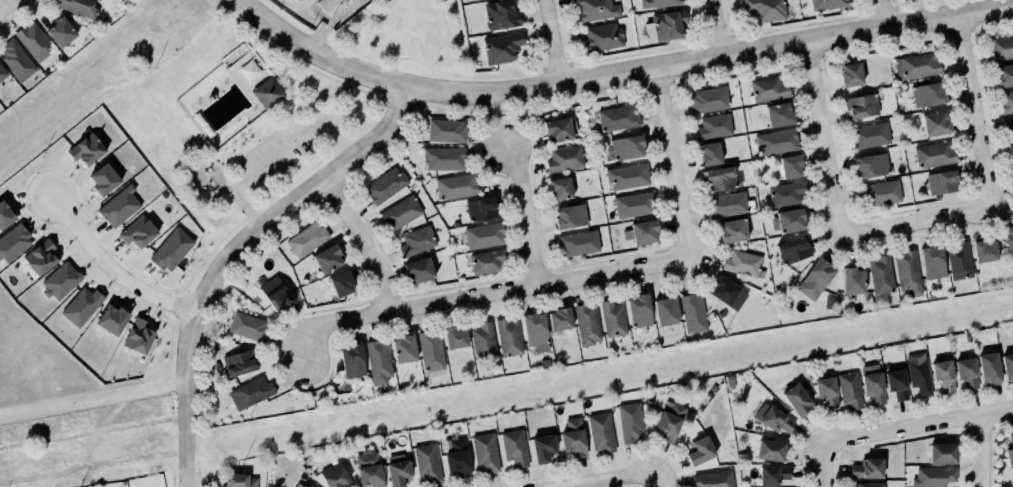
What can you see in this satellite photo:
building: (657, 3)
road: (6, 4)
building: (326, 4)
building: (828, 4)
building: (80, 7)
building: (595, 9)
building: (764, 9)
road: (882, 14)
building: (499, 15)
road: (334, 23)
building: (668, 25)
road: (721, 28)
building: (59, 32)
building: (603, 36)
park: (415, 39)
building: (32, 41)
road: (555, 42)
building: (502, 47)
building: (1002, 48)
road: (410, 59)
building: (15, 60)
building: (917, 66)
road: (395, 71)
building: (848, 72)
building: (2, 73)
road: (617, 74)
building: (1004, 75)
road: (511, 76)
building: (767, 88)
building: (268, 93)
building: (926, 93)
road: (395, 96)
building: (705, 96)
park: (209, 97)
building: (1005, 100)
building: (862, 106)
road: (977, 111)
road: (274, 113)
road: (375, 113)
road: (308, 114)
building: (780, 114)
building: (618, 117)
road: (330, 120)
road: (283, 121)
building: (933, 122)
building: (1008, 124)
building: (712, 125)
building: (556, 128)
building: (445, 129)
building: (867, 134)
road: (824, 138)
building: (774, 140)
road: (251, 145)
building: (625, 145)
building: (86, 149)
building: (708, 152)
building: (1009, 152)
road: (279, 153)
building: (931, 153)
parking lot: (275, 155)
building: (442, 156)
building: (563, 157)
building: (869, 163)
road: (677, 164)
building: (788, 164)
park: (290, 174)
building: (626, 175)
building: (719, 177)
building: (104, 179)
building: (941, 181)
building: (385, 185)
building: (455, 185)
building: (560, 188)
road: (188, 189)
building: (784, 192)
building: (878, 192)
building: (725, 203)
building: (631, 204)
building: (120, 206)
building: (480, 207)
building: (399, 210)
road: (529, 213)
building: (568, 214)
building: (5, 215)
building: (788, 219)
road: (917, 221)
building: (731, 229)
building: (138, 232)
building: (644, 232)
building: (482, 234)
building: (1007, 235)
building: (304, 238)
building: (415, 240)
road: (365, 241)
building: (577, 241)
building: (13, 242)
building: (172, 249)
building: (791, 249)
building: (982, 249)
road: (234, 251)
building: (325, 256)
building: (42, 257)
building: (929, 257)
building: (485, 260)
building: (959, 260)
building: (741, 262)
building: (904, 266)
building: (419, 270)
road: (110, 273)
building: (879, 273)
building: (813, 277)
building: (850, 279)
building: (61, 280)
building: (339, 280)
road: (489, 293)
building: (728, 293)
building: (276, 294)
building: (82, 306)
building: (639, 310)
building: (664, 310)
building: (691, 313)
building: (613, 318)
building: (112, 319)
building: (560, 319)
building: (585, 323)
building: (248, 326)
building: (536, 331)
building: (453, 335)
building: (138, 336)
building: (507, 336)
building: (482, 341)
building: (402, 347)
building: (429, 349)
building: (350, 359)
building: (376, 359)
building: (238, 360)
building: (987, 366)
building: (1007, 366)
building: (964, 371)
building: (919, 373)
building: (943, 375)
building: (873, 383)
building: (897, 384)
building: (850, 390)
building: (248, 391)
building: (826, 391)
building: (794, 398)
road: (93, 399)
building: (770, 417)
building: (667, 419)
building: (630, 422)
road: (919, 426)
building: (601, 432)
building: (571, 437)
building: (512, 446)
building: (541, 447)
building: (698, 449)
building: (767, 449)
road: (985, 451)
building: (485, 452)
building: (943, 453)
building: (1010, 453)
building: (455, 458)
building: (426, 462)
road: (825, 465)
building: (865, 467)
building: (368, 468)
building: (398, 469)
building: (771, 473)
building: (933, 475)
building: (335, 476)
building: (712, 479)
building: (237, 480)
road: (624, 480)
road: (663, 480)
building: (867, 484)

